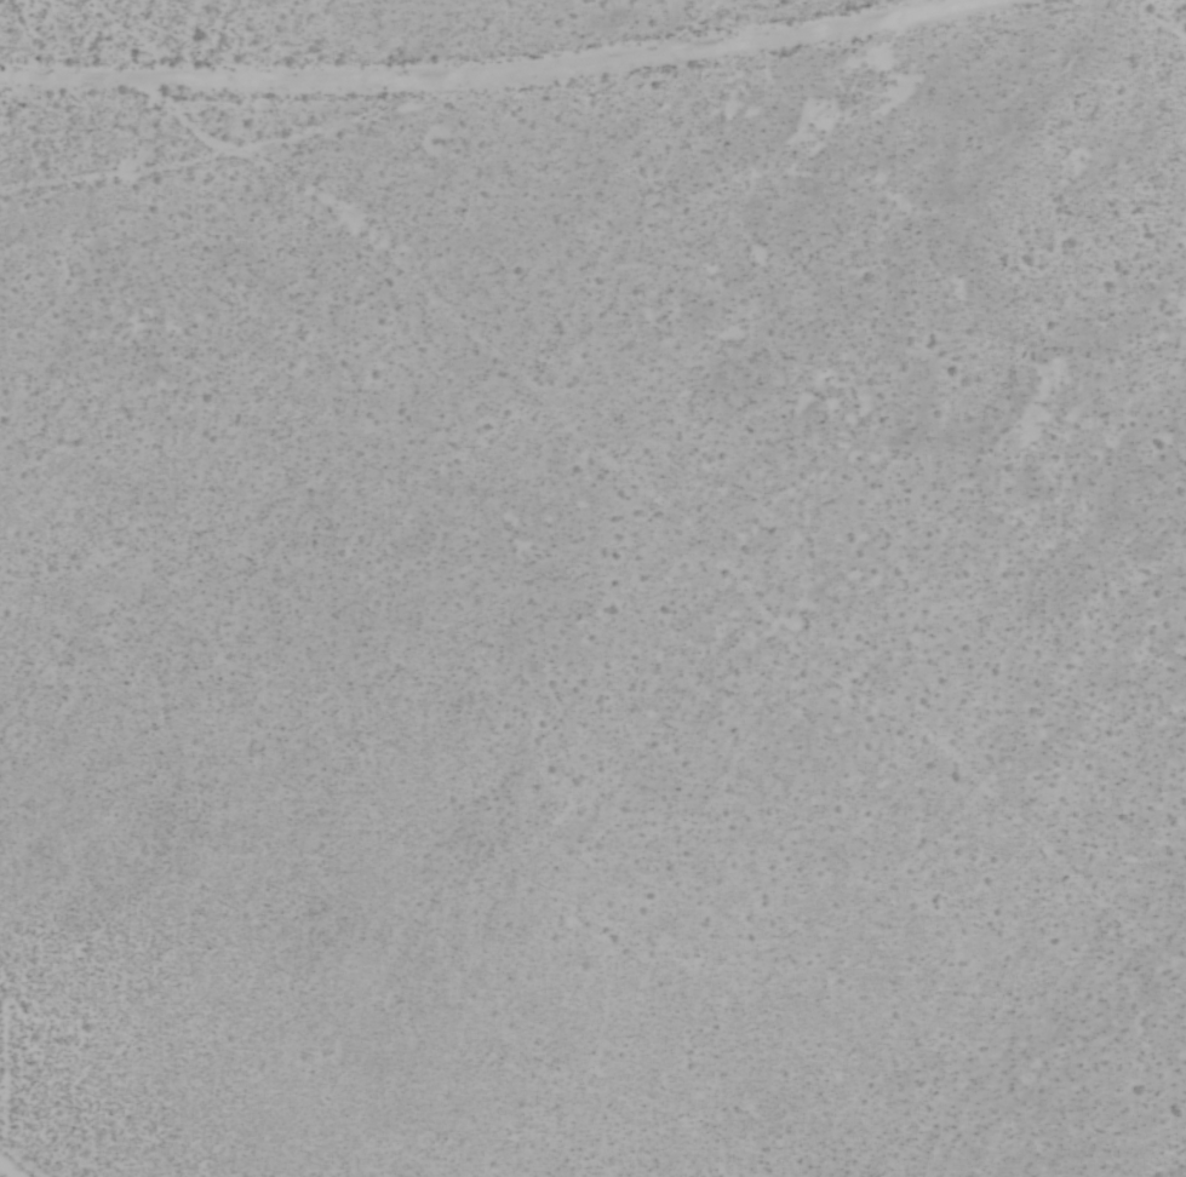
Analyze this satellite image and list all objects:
airport: (592, 588)

